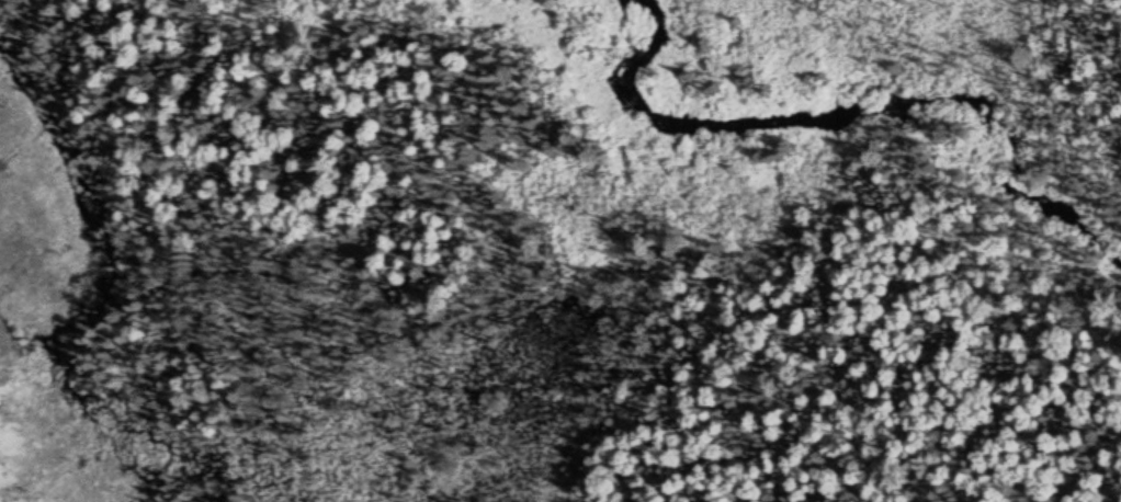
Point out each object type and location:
river: (852, 94)

